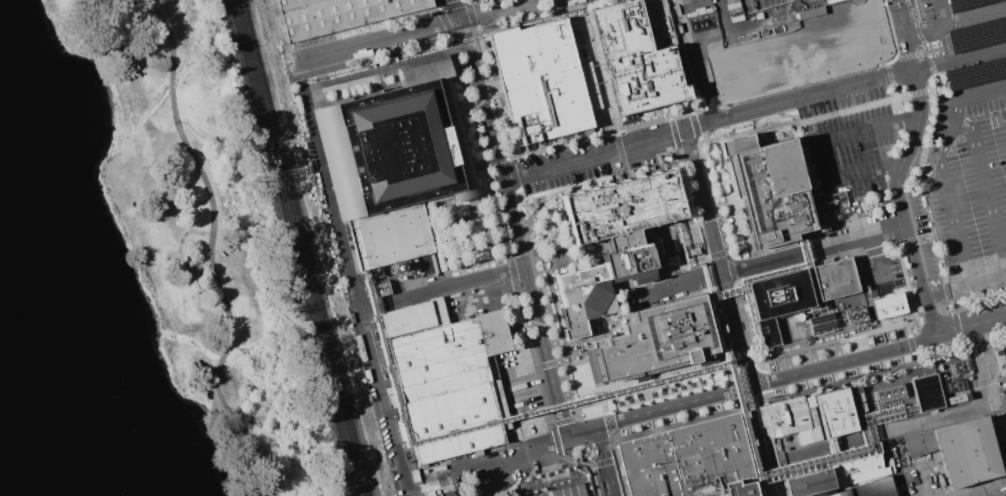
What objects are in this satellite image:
building: (832, 1)
building: (294, 4)
road: (455, 9)
building: (809, 12)
road: (939, 12)
building: (341, 15)
road: (954, 21)
road: (438, 24)
rooftop solar panel: (980, 32)
road: (711, 42)
building: (809, 49)
building: (639, 54)
road: (319, 55)
rooftop solar panel: (429, 63)
rooftop solar panel: (986, 71)
building: (540, 80)
road: (754, 115)
road: (871, 127)
rooftop solar panel: (461, 139)
building: (385, 149)
road: (901, 157)
road: (945, 168)
road: (900, 169)
rooftop solar panel: (339, 173)
building: (731, 175)
rooftop solar panel: (404, 183)
building: (772, 193)
road: (990, 202)
building: (622, 206)
road: (513, 225)
building: (390, 236)
railway: (301, 247)
road: (210, 248)
railway: (283, 248)
railway: (292, 248)
building: (629, 258)
road: (718, 260)
road: (773, 260)
road: (878, 265)
park: (137, 267)
building: (834, 278)
road: (486, 279)
road: (988, 280)
building: (377, 289)
road: (948, 291)
building: (584, 298)
building: (780, 299)
building: (886, 305)
building: (812, 311)
building: (858, 315)
building: (407, 319)
building: (822, 323)
road: (970, 328)
building: (658, 338)
building: (1000, 361)
building: (449, 384)
road: (738, 390)
building: (925, 392)
building: (891, 393)
building: (955, 398)
building: (860, 399)
building: (836, 412)
road: (975, 413)
building: (785, 417)
building: (966, 452)
building: (691, 461)
road: (574, 464)
building: (856, 470)
building: (873, 488)
road: (774, 490)
building: (563, 491)
building: (839, 493)

